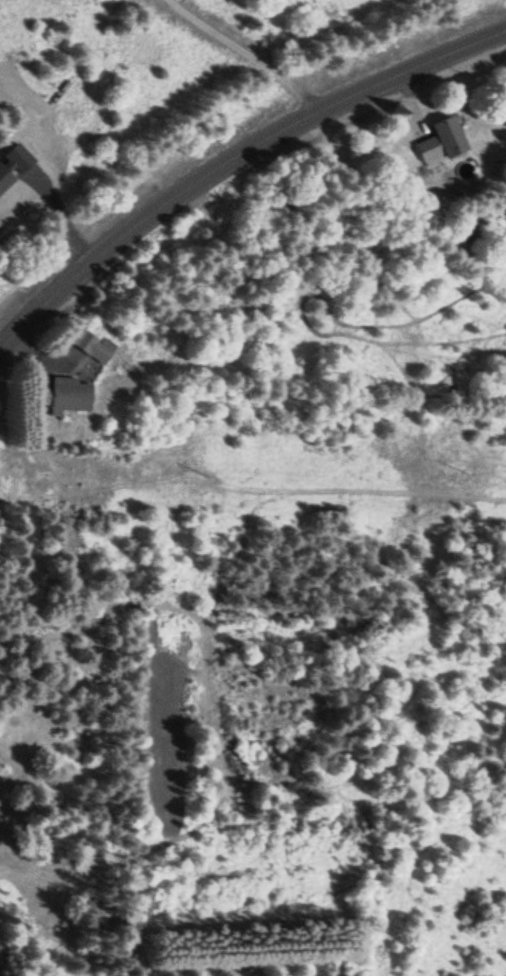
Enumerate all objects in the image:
building: (441, 141)
road: (231, 159)
building: (91, 343)
building: (69, 394)

